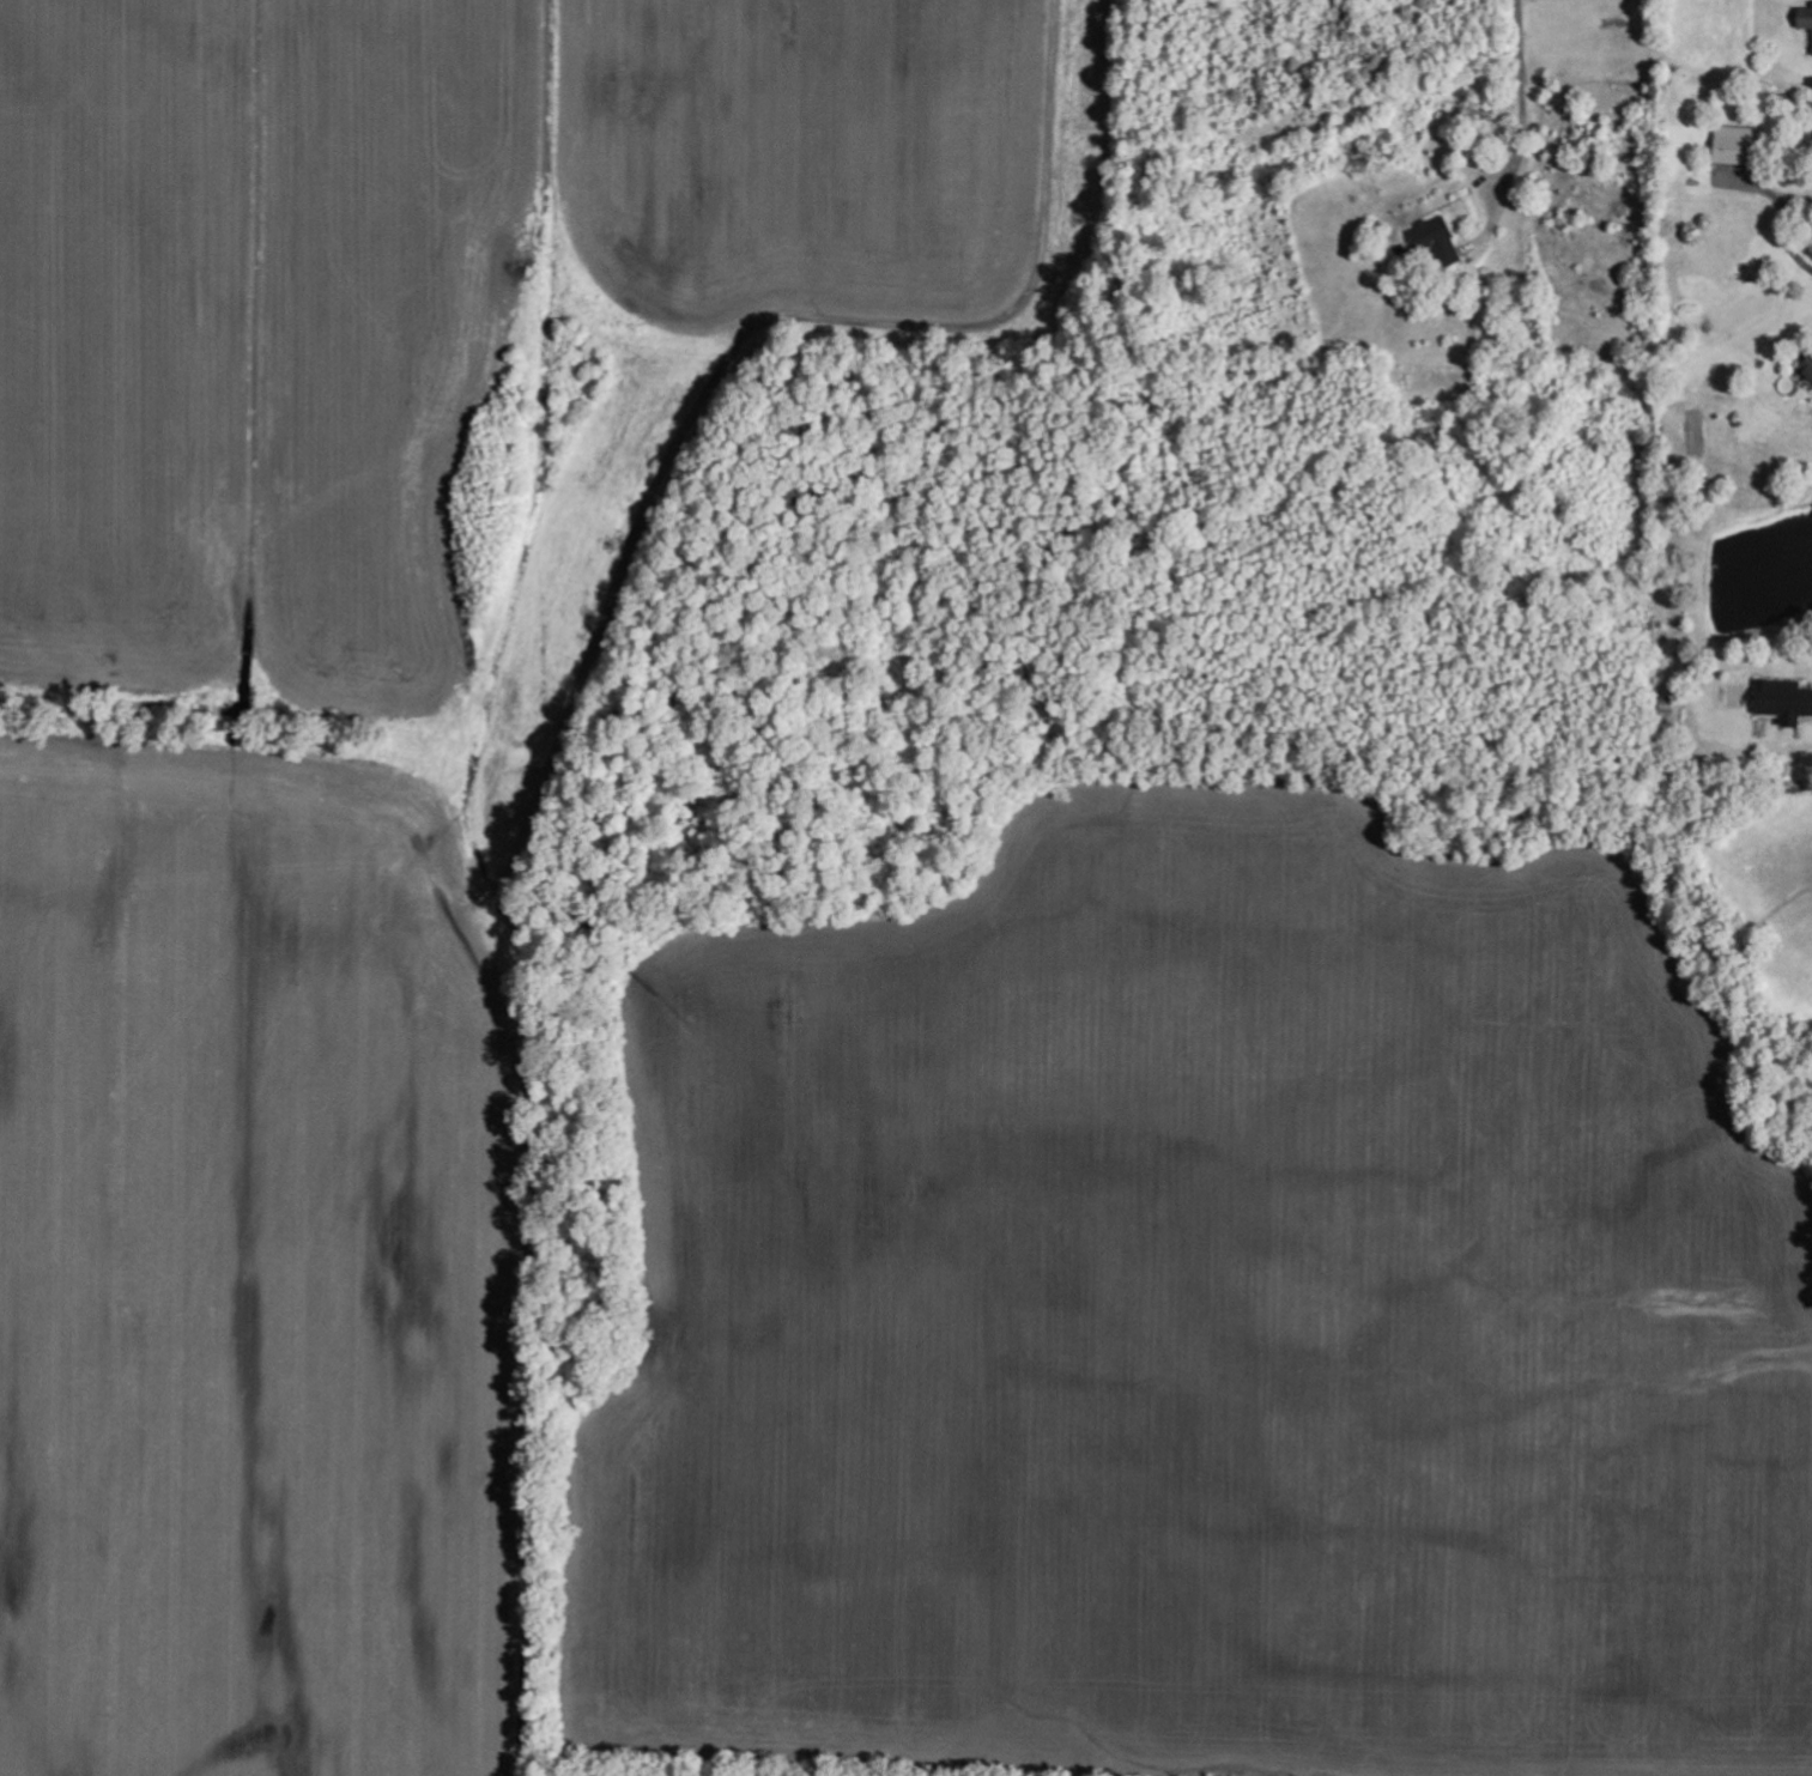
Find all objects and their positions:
building: (1806, 18)
road: (1752, 97)
road: (1520, 107)
building: (1735, 145)
building: (1437, 241)
building: (1808, 372)
building: (1784, 702)

